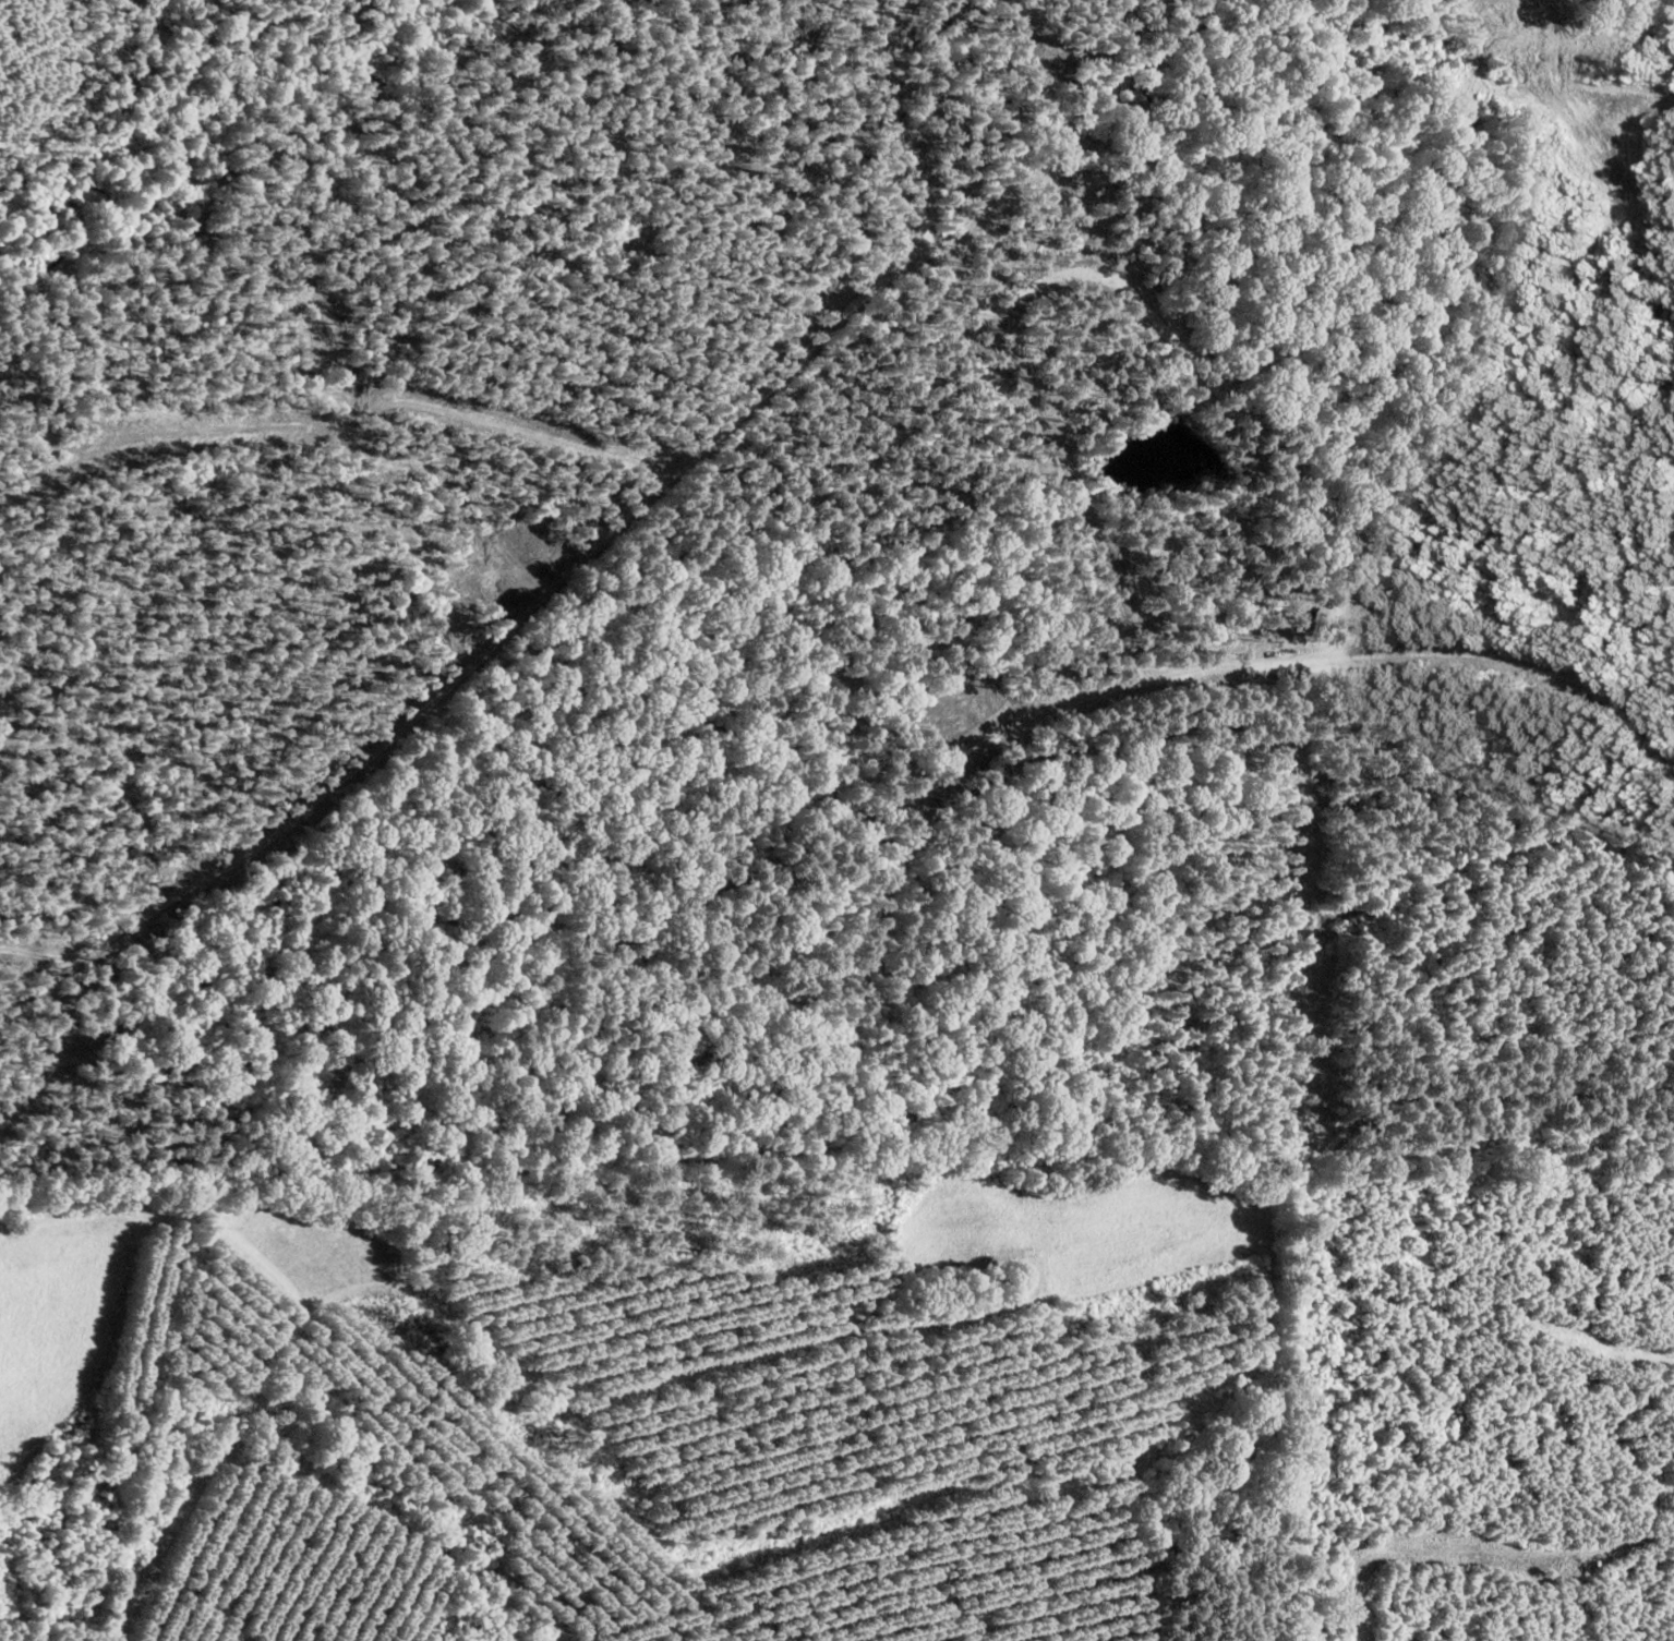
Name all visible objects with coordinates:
road: (1129, 1301)

